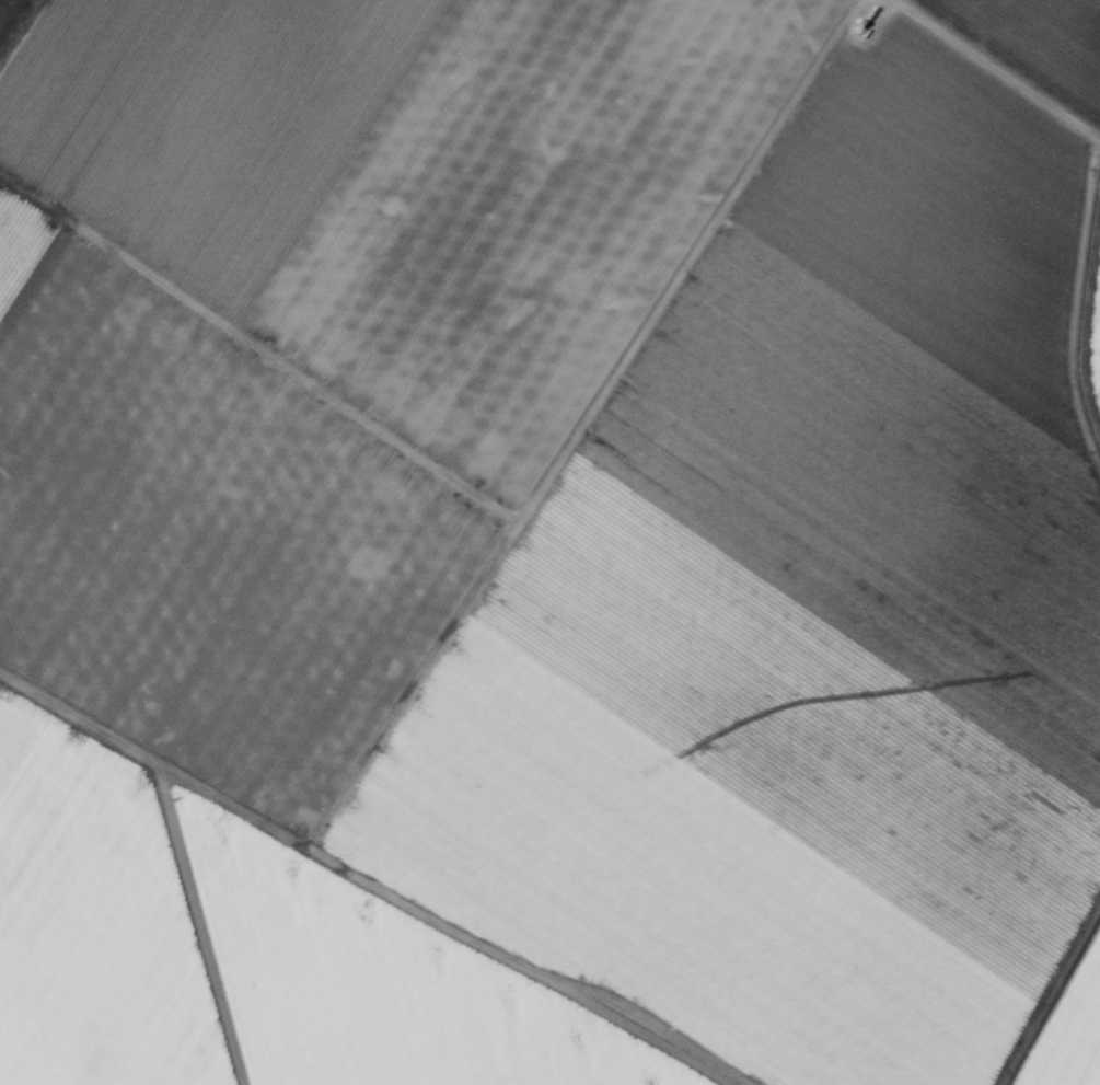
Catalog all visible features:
road: (991, 74)
crop: (549, 542)

